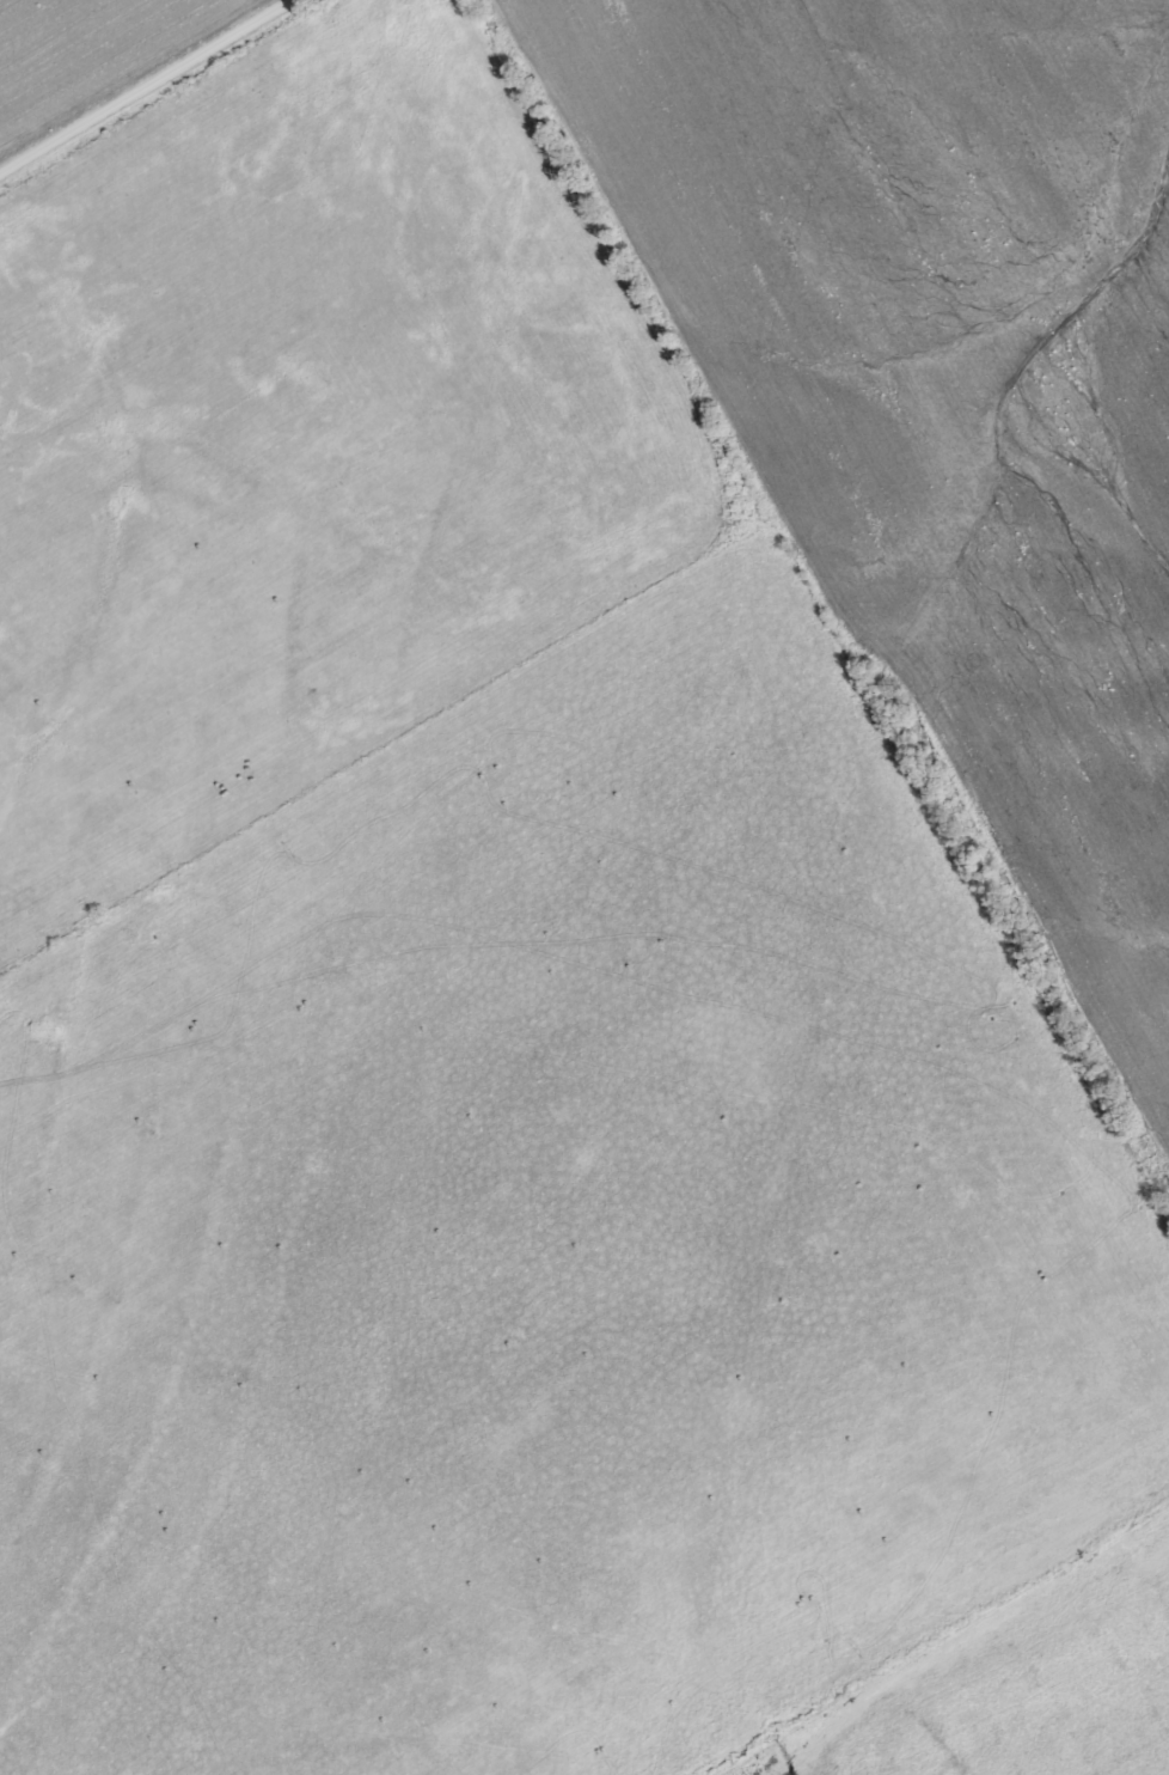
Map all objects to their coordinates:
road: (141, 85)

